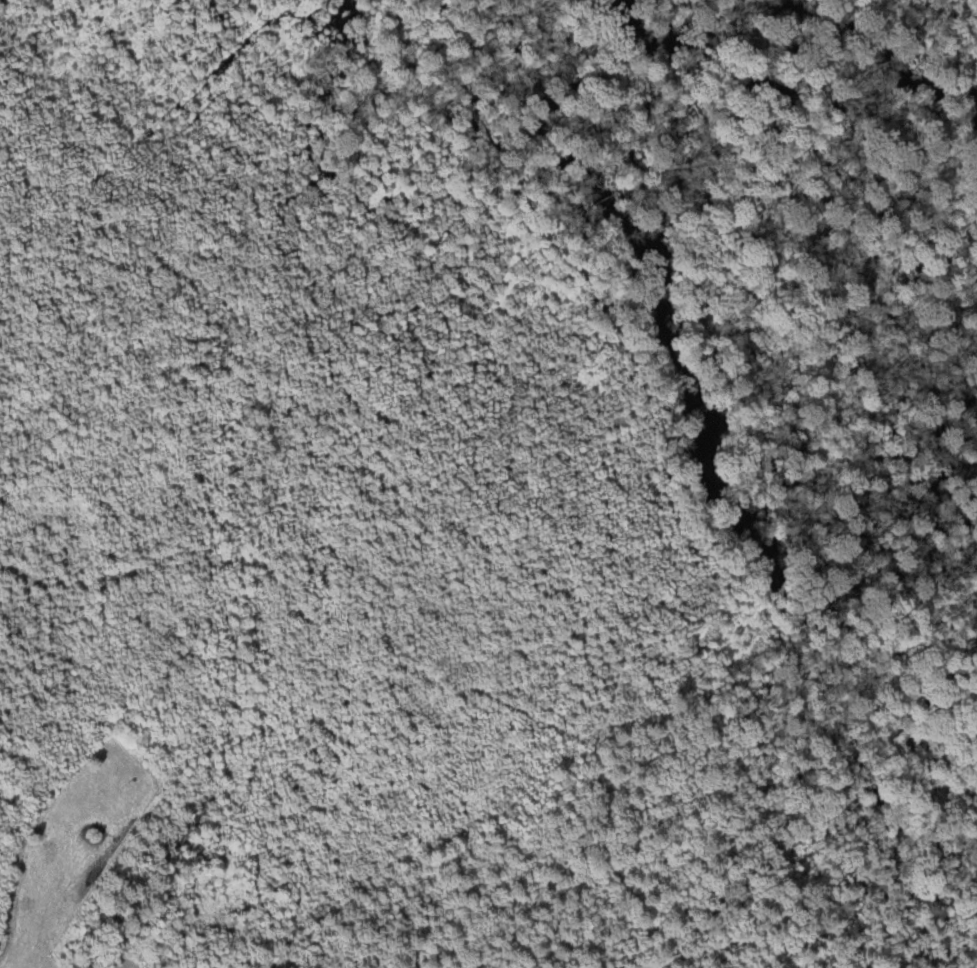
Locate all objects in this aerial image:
river: (711, 392)

